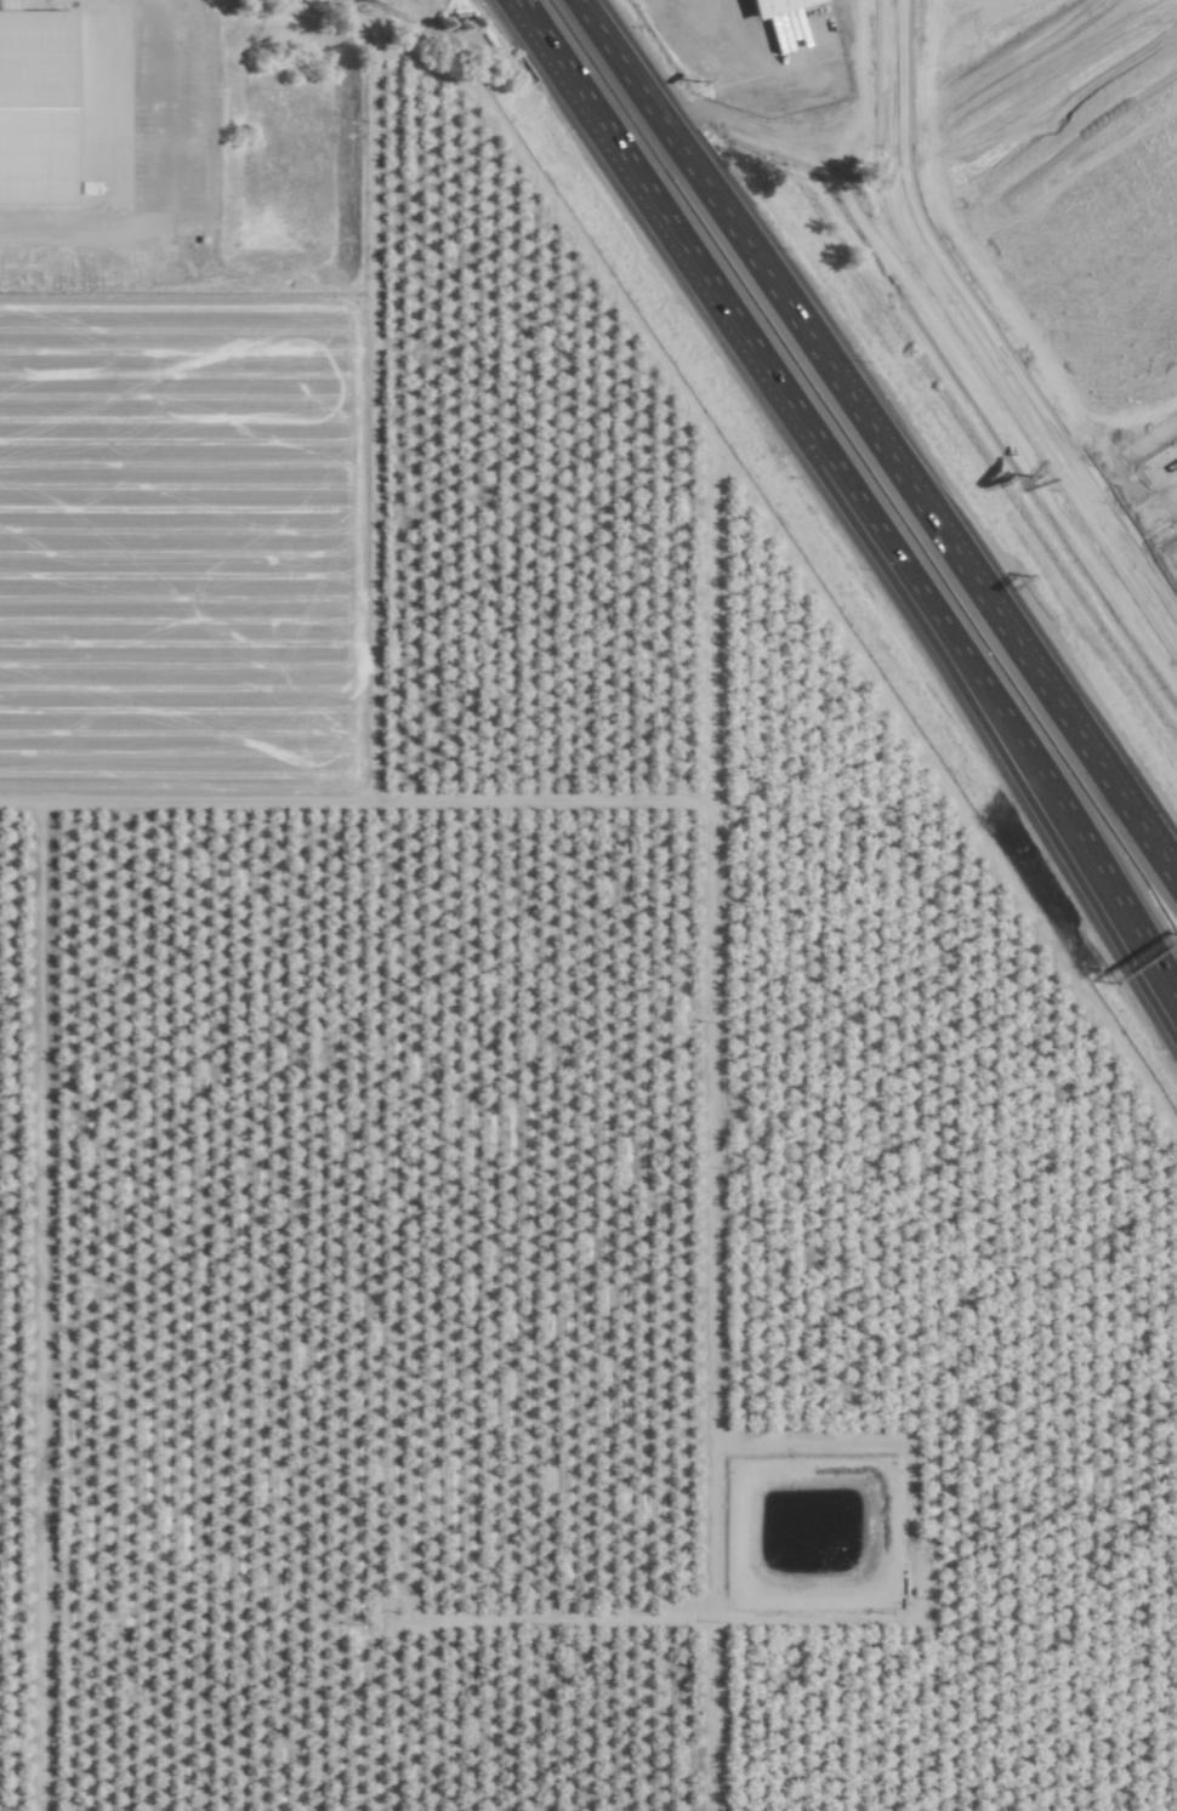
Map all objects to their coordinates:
building: (771, 6)
road: (787, 40)
building: (33, 106)
road: (956, 372)
road: (876, 442)
road: (848, 500)
road: (348, 1655)

